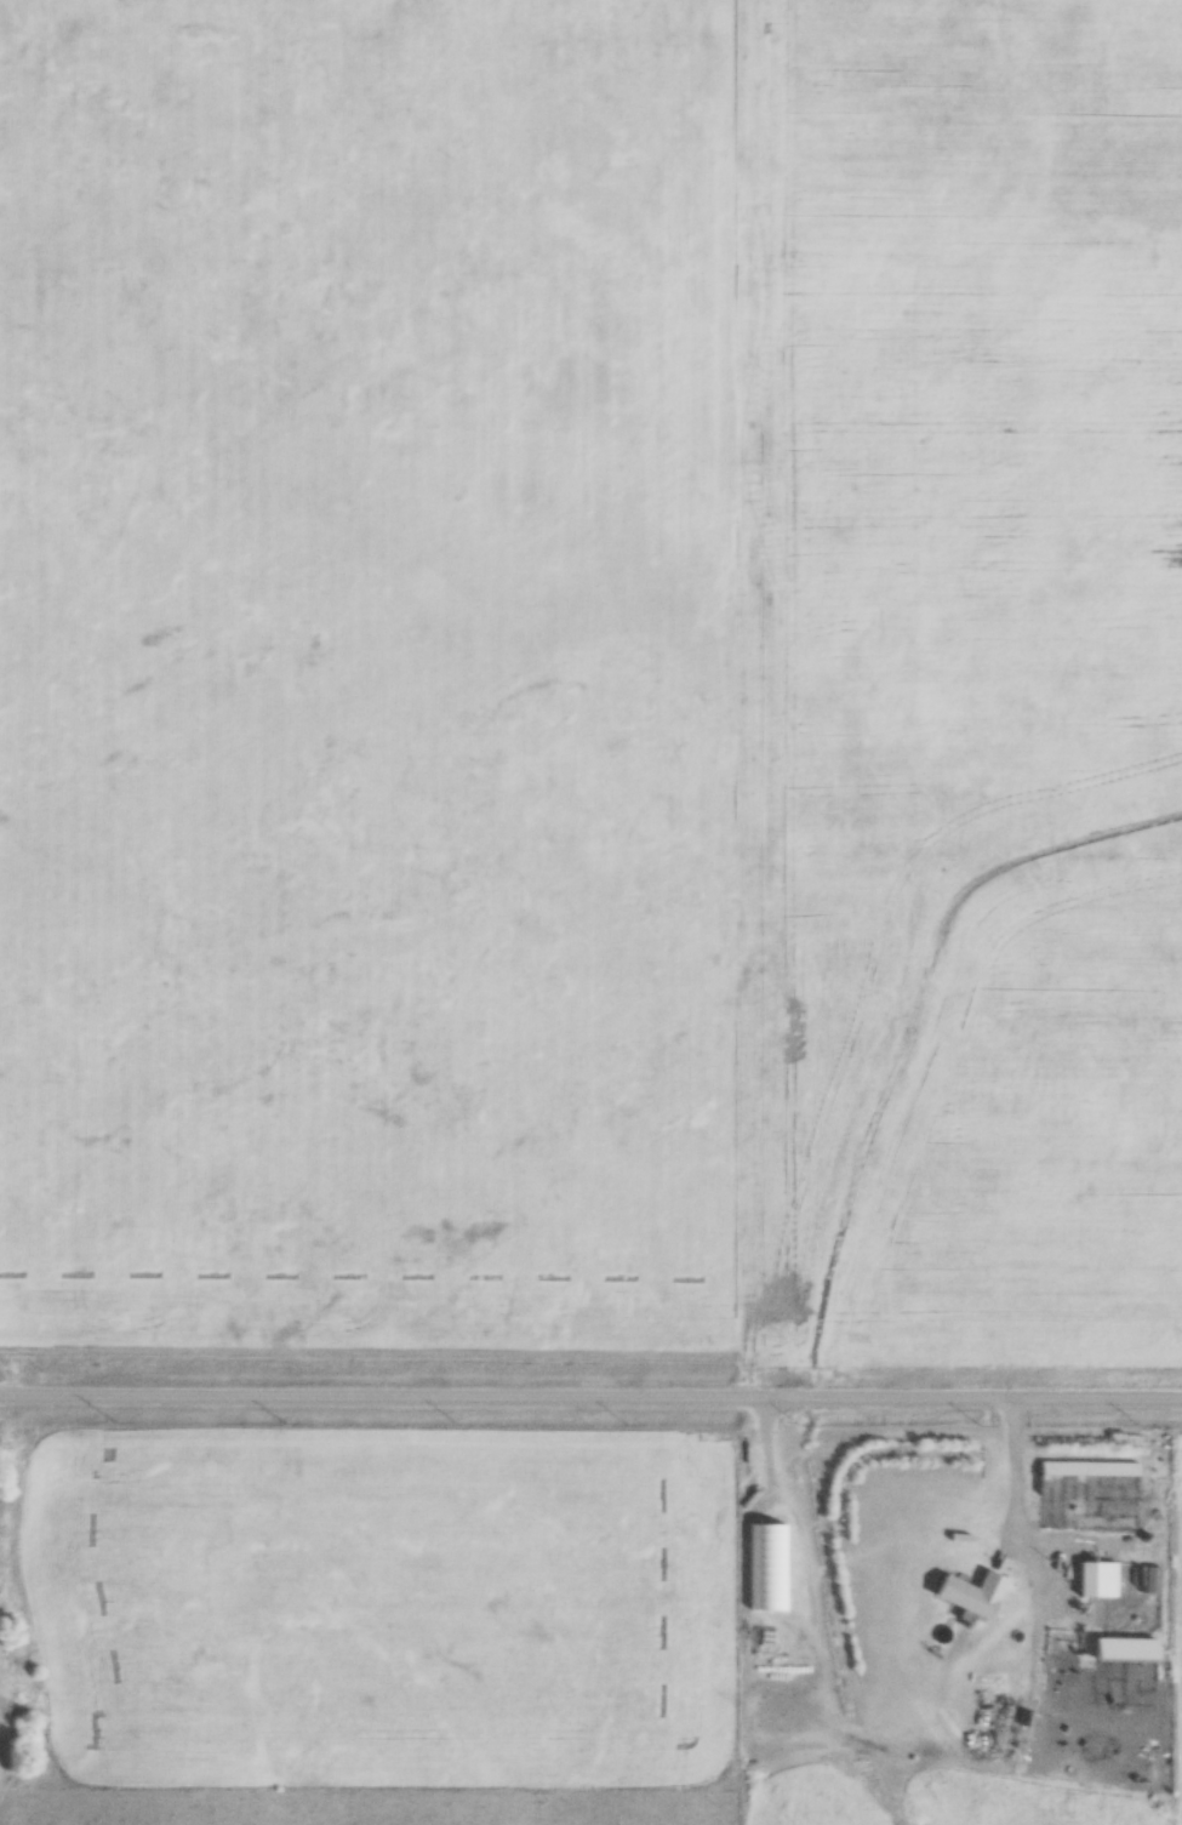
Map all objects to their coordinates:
road: (590, 1390)
road: (761, 1437)
road: (1009, 1466)
building: (1094, 1575)
building: (966, 1596)

